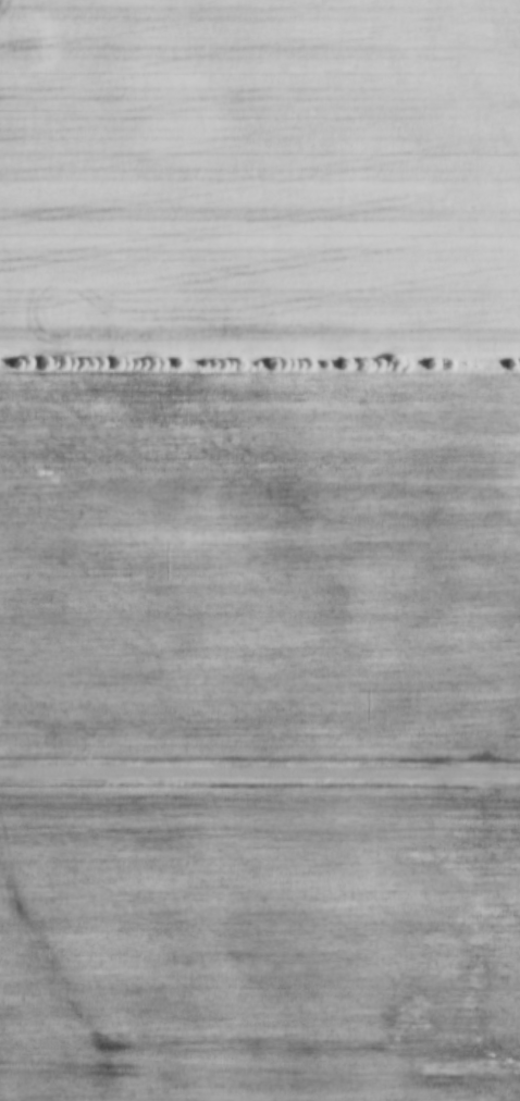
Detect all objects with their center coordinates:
road: (260, 770)

